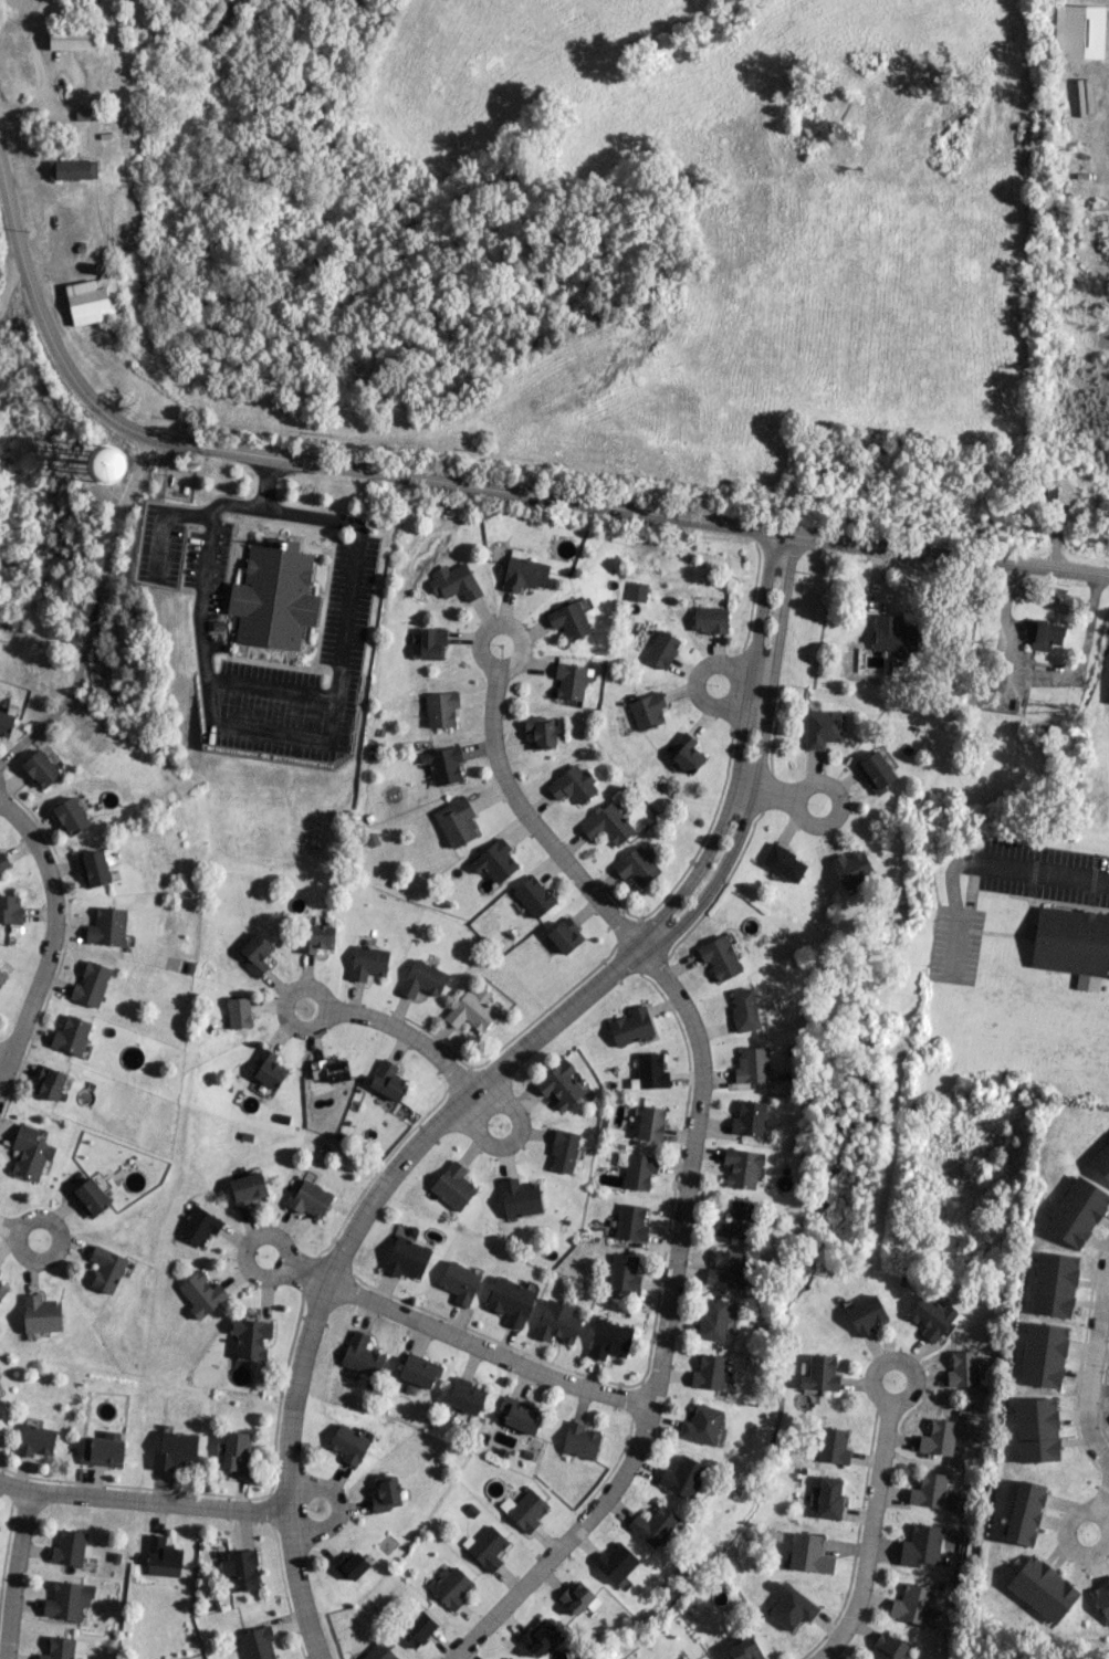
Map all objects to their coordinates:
building: (1078, 31)
building: (72, 38)
road: (39, 71)
building: (72, 169)
road: (10, 283)
building: (93, 301)
building: (106, 464)
road: (470, 489)
road: (163, 522)
building: (523, 573)
building: (454, 581)
building: (636, 591)
building: (273, 595)
road: (1047, 602)
road: (93, 611)
building: (569, 620)
building: (710, 620)
road: (504, 623)
building: (1043, 633)
building: (894, 634)
building: (431, 644)
building: (661, 649)
road: (1040, 672)
building: (571, 681)
road: (698, 683)
road: (270, 686)
building: (440, 708)
building: (647, 711)
building: (6, 722)
building: (823, 728)
building: (541, 731)
road: (314, 739)
building: (686, 753)
building: (443, 765)
building: (40, 768)
building: (876, 771)
building: (573, 785)
road: (767, 794)
road: (838, 798)
building: (71, 816)
building: (456, 821)
building: (608, 825)
building: (3, 861)
building: (494, 861)
building: (784, 862)
building: (637, 867)
building: (851, 868)
building: (94, 869)
road: (1043, 869)
building: (533, 896)
building: (10, 909)
building: (107, 926)
building: (565, 935)
road: (51, 938)
building: (317, 938)
building: (1070, 942)
building: (254, 953)
building: (720, 957)
building: (367, 962)
building: (2, 977)
building: (422, 979)
building: (91, 984)
building: (744, 1009)
building: (471, 1010)
building: (238, 1012)
road: (326, 1014)
building: (631, 1027)
building: (71, 1035)
road: (407, 1036)
road: (4, 1057)
building: (752, 1065)
building: (268, 1069)
building: (331, 1070)
building: (649, 1072)
road: (490, 1080)
building: (387, 1081)
building: (49, 1083)
building: (561, 1084)
road: (490, 1119)
building: (749, 1119)
building: (650, 1123)
building: (564, 1152)
building: (30, 1153)
building: (1101, 1162)
road: (689, 1166)
building: (742, 1167)
building: (638, 1170)
building: (453, 1186)
building: (247, 1188)
building: (92, 1195)
building: (310, 1198)
building: (520, 1198)
building: (1077, 1211)
building: (735, 1221)
building: (630, 1222)
building: (198, 1226)
road: (8, 1229)
road: (280, 1238)
road: (60, 1241)
building: (406, 1258)
building: (106, 1269)
building: (724, 1269)
building: (624, 1272)
road: (306, 1274)
building: (460, 1282)
building: (1054, 1284)
building: (2, 1290)
building: (201, 1294)
building: (510, 1301)
building: (41, 1314)
building: (866, 1314)
building: (931, 1317)
building: (557, 1322)
building: (251, 1337)
building: (609, 1340)
road: (487, 1351)
building: (363, 1355)
building: (1043, 1355)
road: (1094, 1357)
road: (901, 1358)
building: (963, 1369)
building: (419, 1371)
building: (709, 1372)
building: (819, 1374)
building: (464, 1396)
building: (521, 1417)
building: (701, 1425)
building: (1036, 1430)
building: (938, 1438)
building: (35, 1440)
building: (579, 1440)
building: (348, 1445)
building: (833, 1446)
building: (103, 1449)
building: (175, 1450)
building: (236, 1452)
road: (1099, 1458)
building: (681, 1477)
building: (929, 1490)
building: (387, 1493)
road: (1101, 1495)
building: (828, 1498)
road: (143, 1502)
road: (342, 1508)
building: (524, 1510)
building: (1025, 1512)
building: (655, 1526)
road: (869, 1536)
building: (921, 1545)
building: (485, 1547)
building: (69, 1548)
road: (1077, 1550)
building: (808, 1554)
building: (161, 1557)
building: (615, 1562)
building: (351, 1565)
building: (240, 1571)
road: (12, 1574)
building: (452, 1588)
building: (1042, 1589)
building: (578, 1598)
building: (1101, 1598)
building: (67, 1600)
building: (914, 1605)
building: (792, 1607)
building: (417, 1629)
building: (538, 1638)
building: (257, 1644)
building: (887, 1647)
building: (57, 1648)
building: (745, 1650)
building: (378, 1652)
building: (508, 1658)

